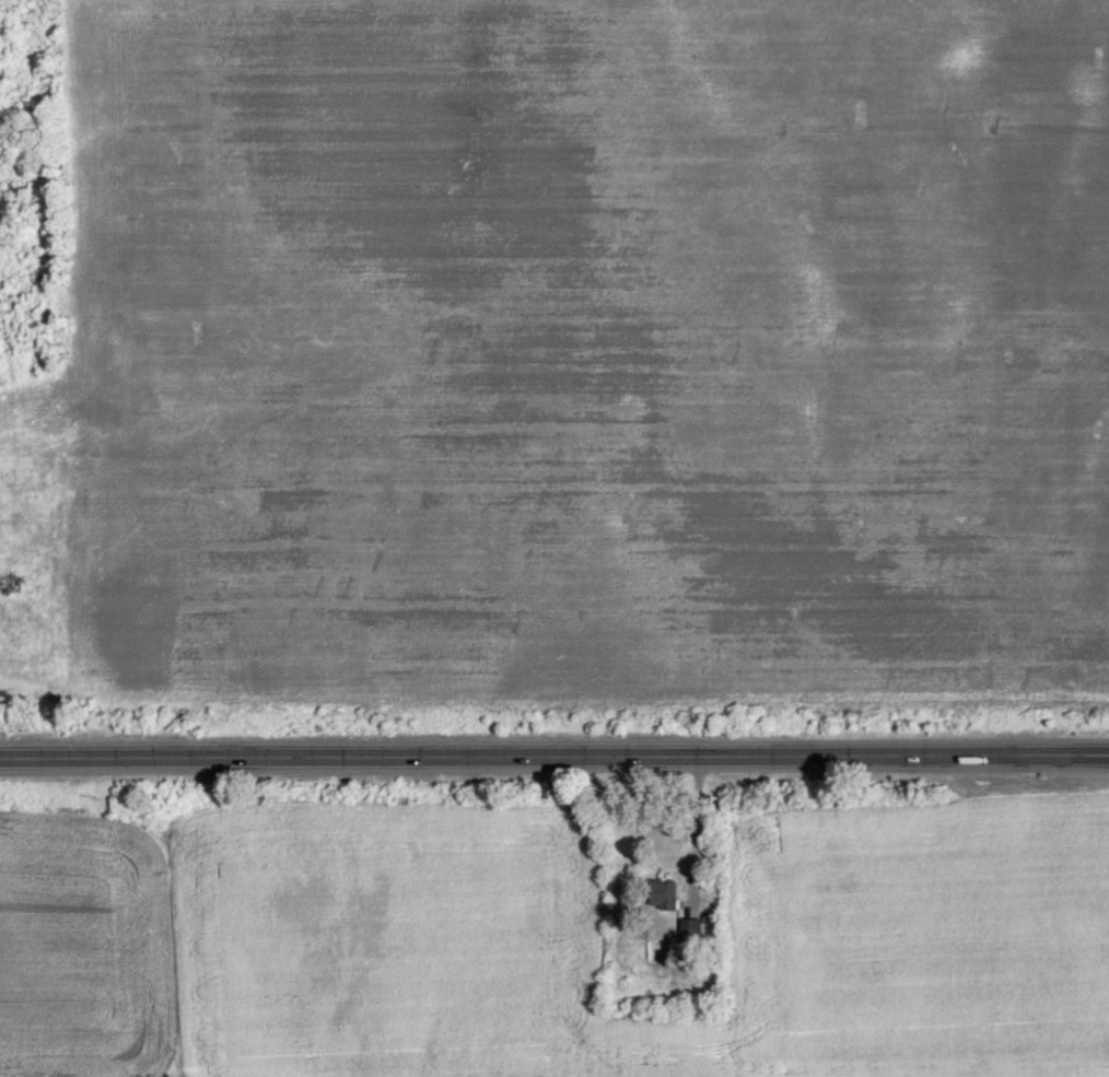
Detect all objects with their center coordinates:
road: (554, 754)
building: (662, 893)
building: (689, 929)

